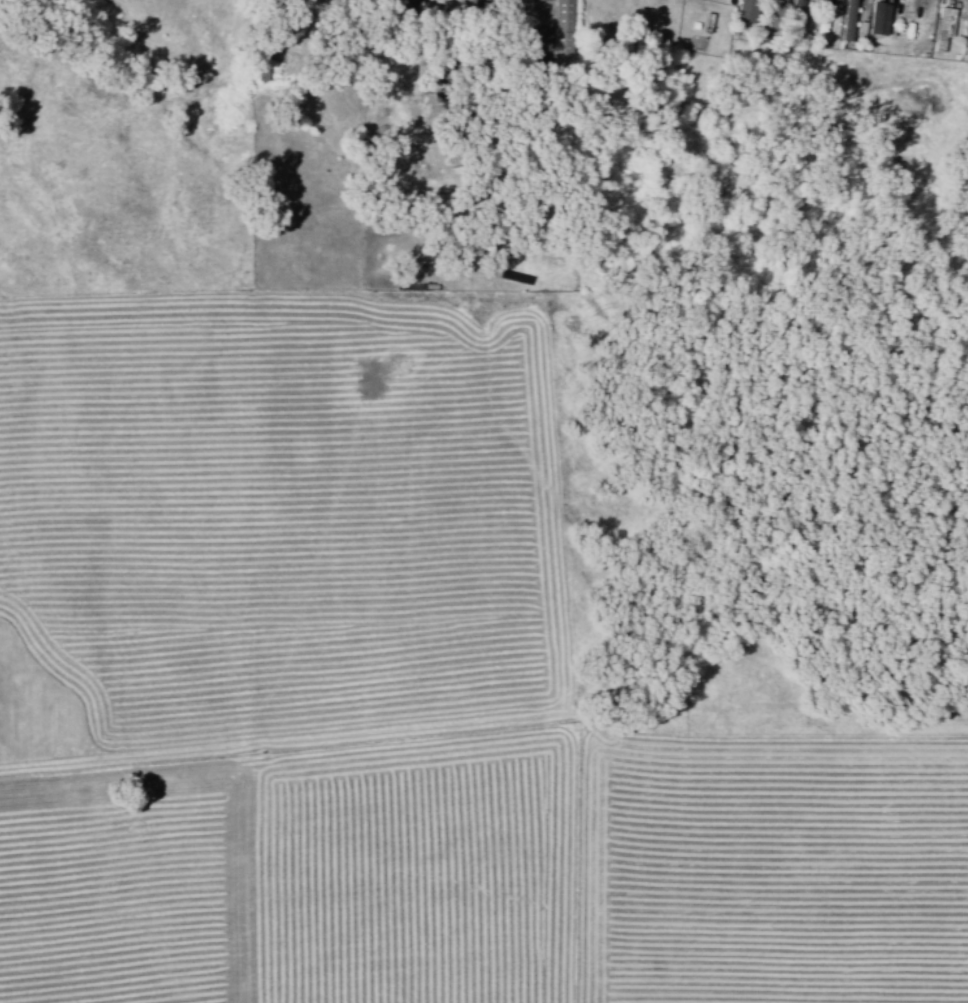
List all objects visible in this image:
building: (747, 11)
building: (562, 15)
building: (878, 20)
building: (847, 21)
building: (941, 28)
building: (966, 42)

